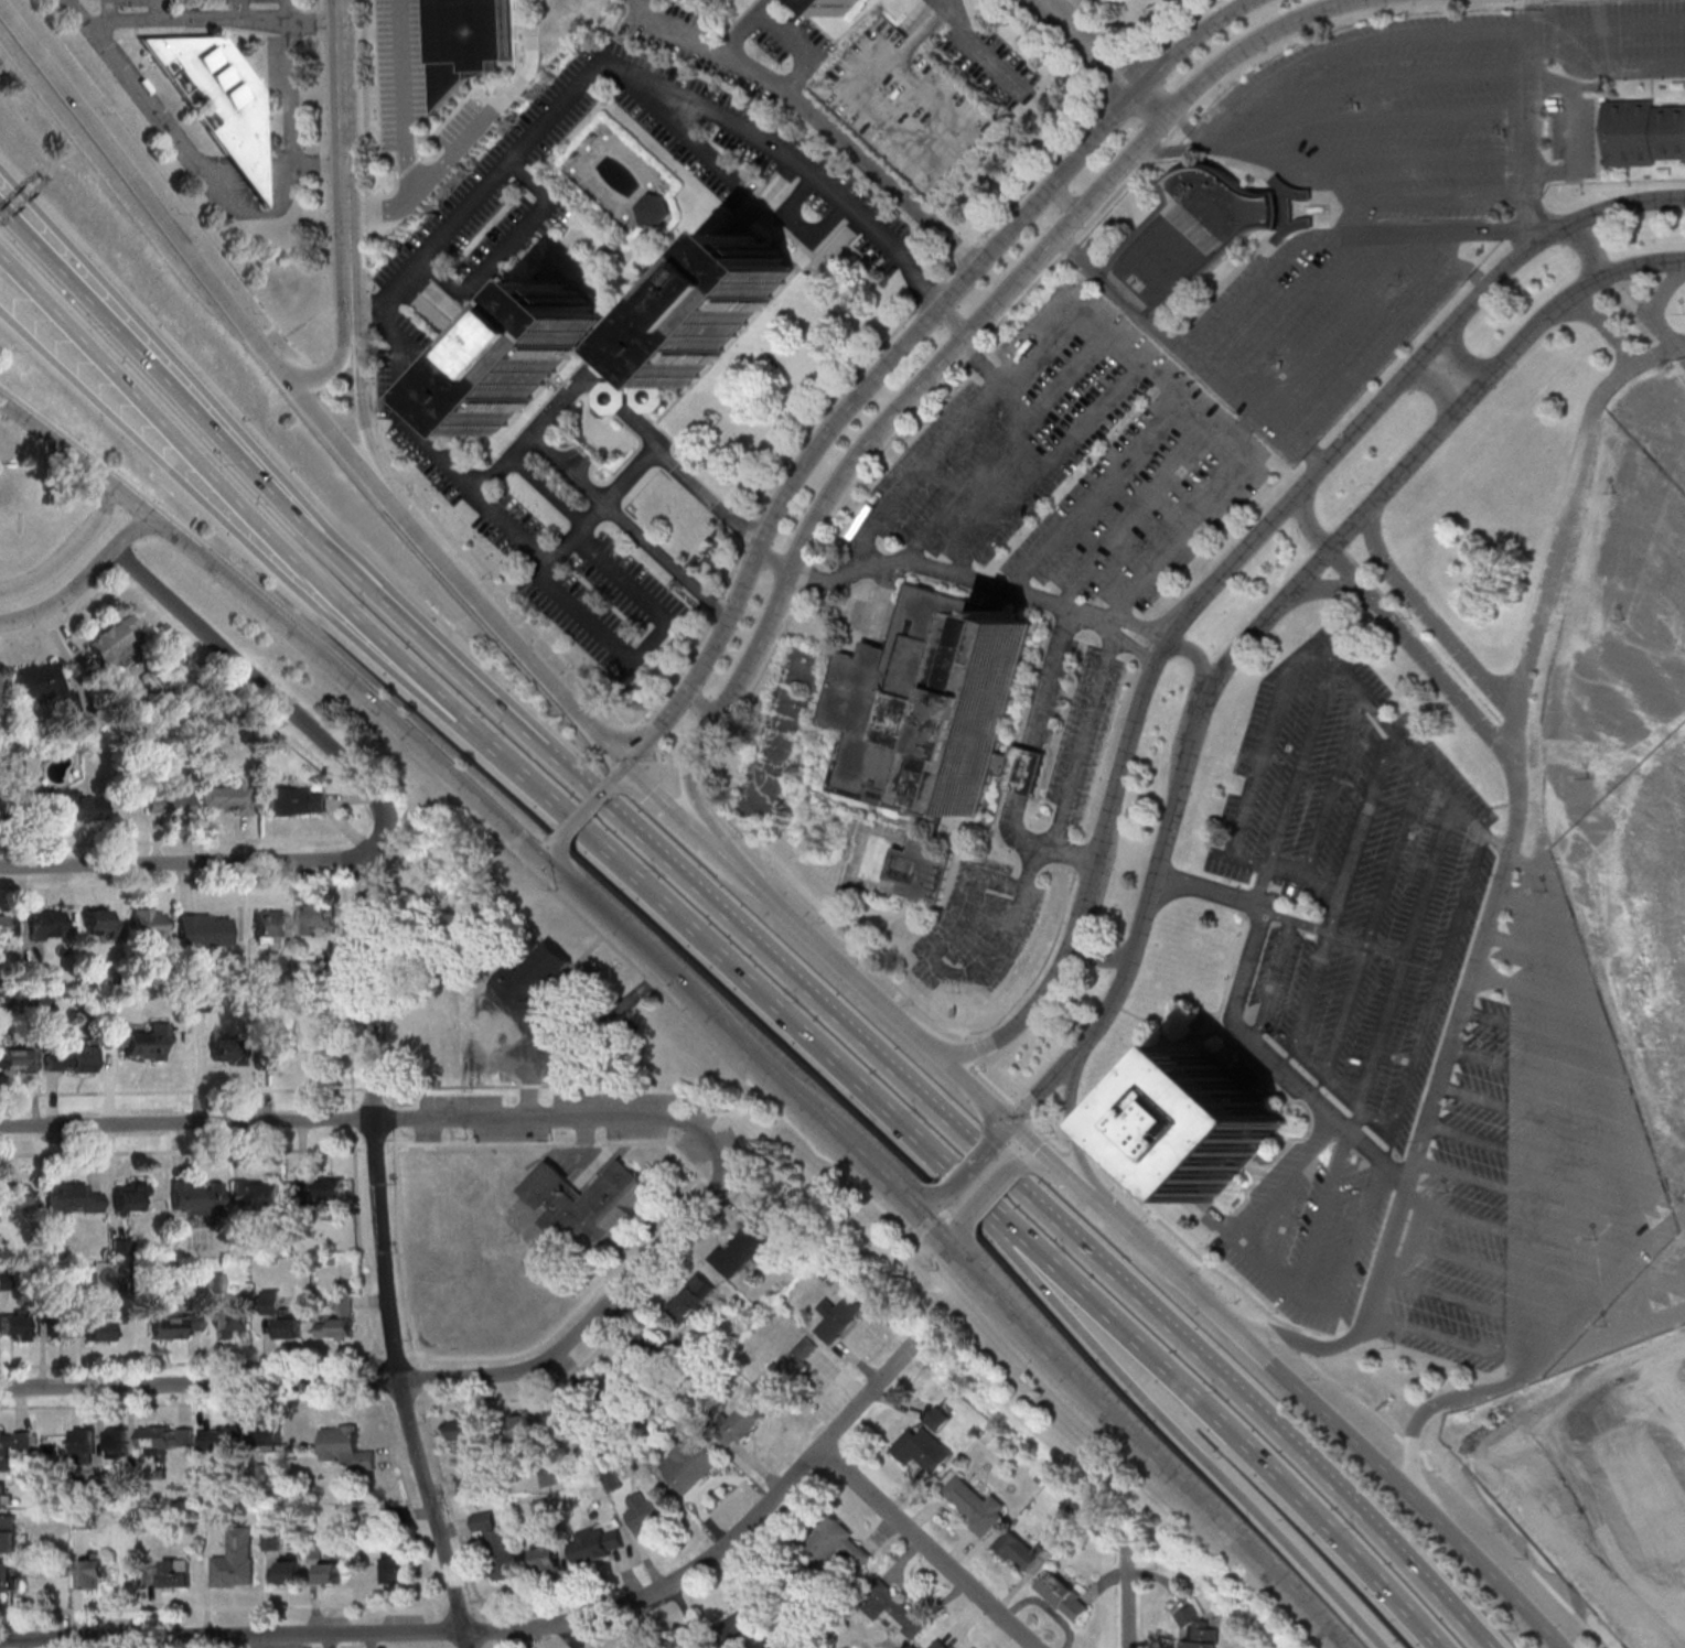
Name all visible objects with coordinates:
building: (844, 4)
road: (157, 9)
road: (1073, 10)
road: (313, 17)
road: (187, 18)
road: (783, 22)
road: (1609, 24)
building: (468, 41)
road: (973, 43)
road: (1107, 57)
road: (643, 79)
road: (405, 99)
building: (218, 100)
road: (288, 106)
road: (819, 109)
road: (1531, 115)
road: (1571, 127)
building: (1643, 132)
road: (1193, 133)
road: (698, 147)
road: (181, 149)
road: (1202, 149)
road: (343, 153)
road: (322, 177)
road: (426, 182)
road: (1324, 182)
road: (169, 185)
road: (149, 198)
road: (1067, 203)
building: (655, 209)
road: (797, 224)
road: (1451, 233)
building: (1201, 234)
road: (506, 247)
road: (1591, 249)
road: (75, 250)
road: (1663, 288)
road: (1124, 299)
road: (365, 308)
building: (721, 308)
road: (1232, 310)
road: (1645, 310)
road: (1339, 319)
road: (956, 320)
road: (347, 324)
road: (1604, 327)
road: (270, 330)
road: (260, 336)
road: (1384, 336)
road: (901, 347)
road: (1681, 349)
road: (1661, 352)
road: (952, 355)
building: (530, 356)
road: (1461, 357)
road: (330, 375)
building: (625, 384)
road: (1441, 386)
road: (565, 396)
road: (358, 406)
road: (1279, 419)
road: (331, 433)
road: (1241, 448)
road: (1062, 449)
road: (107, 482)
road: (272, 483)
road: (226, 484)
road: (546, 488)
road: (104, 513)
road: (224, 513)
road: (1311, 525)
road: (130, 529)
road: (350, 542)
road: (1556, 547)
road: (544, 548)
road: (433, 554)
road: (664, 558)
road: (776, 560)
road: (1231, 570)
road: (49, 572)
road: (978, 583)
road: (1329, 585)
road: (1295, 591)
road: (63, 595)
road: (1429, 614)
building: (114, 640)
road: (643, 646)
road: (1300, 646)
road: (1420, 651)
building: (46, 686)
road: (568, 697)
building: (933, 702)
road: (700, 703)
road: (378, 709)
road: (1187, 712)
road: (1035, 737)
road: (1083, 737)
traffic signals: (631, 760)
road: (621, 771)
road: (665, 794)
building: (228, 796)
building: (297, 800)
building: (169, 803)
building: (77, 805)
road: (584, 811)
road: (715, 843)
road: (549, 849)
traffic signals: (543, 857)
road: (180, 863)
building: (922, 869)
road: (1431, 880)
road: (1028, 881)
building: (315, 916)
building: (100, 922)
building: (148, 923)
building: (45, 925)
building: (270, 926)
building: (8, 927)
road: (936, 928)
building: (205, 929)
road: (686, 934)
road: (1407, 954)
road: (830, 955)
building: (534, 976)
road: (683, 982)
road: (1308, 999)
building: (201, 1002)
road: (1341, 1019)
road: (1245, 1035)
building: (278, 1036)
building: (141, 1042)
road: (368, 1043)
road: (1450, 1043)
building: (227, 1049)
building: (17, 1060)
building: (71, 1060)
road: (974, 1087)
road: (1045, 1090)
road: (372, 1119)
building: (1208, 1121)
traffic signals: (1015, 1125)
road: (1008, 1132)
road: (1074, 1133)
road: (1033, 1144)
road: (861, 1159)
road: (1037, 1161)
road: (969, 1172)
road: (1290, 1177)
road: (1076, 1185)
road: (956, 1187)
building: (318, 1192)
road: (990, 1192)
building: (256, 1194)
building: (12, 1196)
building: (197, 1196)
road: (1020, 1196)
building: (130, 1198)
building: (73, 1199)
building: (586, 1202)
traffic signals: (906, 1204)
road: (922, 1204)
road: (1103, 1210)
road: (1323, 1213)
road: (1117, 1225)
traffic signals: (930, 1227)
road: (931, 1229)
road: (958, 1240)
building: (742, 1248)
road: (1015, 1257)
road: (1176, 1280)
building: (215, 1282)
building: (691, 1296)
road: (1339, 1297)
road: (1473, 1306)
building: (280, 1315)
building: (838, 1316)
building: (336, 1321)
building: (234, 1322)
building: (12, 1326)
building: (61, 1326)
building: (175, 1326)
building: (101, 1327)
road: (1292, 1340)
road: (1452, 1340)
building: (637, 1361)
building: (794, 1361)
road: (1535, 1369)
road: (407, 1379)
building: (567, 1415)
building: (938, 1418)
building: (742, 1421)
building: (522, 1426)
road: (1221, 1426)
building: (465, 1432)
building: (270, 1436)
building: (167, 1437)
building: (222, 1437)
building: (118, 1440)
building: (12, 1445)
building: (85, 1445)
building: (346, 1445)
building: (922, 1448)
road: (1149, 1451)
building: (688, 1466)
road: (1212, 1469)
road: (1397, 1483)
building: (6, 1494)
building: (977, 1505)
building: (647, 1514)
building: (8, 1532)
building: (271, 1542)
building: (835, 1543)
building: (498, 1544)
building: (598, 1544)
road: (926, 1548)
building: (1019, 1550)
building: (547, 1557)
building: (235, 1559)
building: (394, 1566)
building: (290, 1569)
building: (93, 1570)
building: (169, 1573)
building: (330, 1573)
building: (8, 1575)
building: (1063, 1595)
road: (1126, 1597)
building: (891, 1607)
building: (745, 1627)
road: (512, 1628)
building: (1198, 1630)
building: (681, 1642)
building: (941, 1644)
building: (709, 1647)

